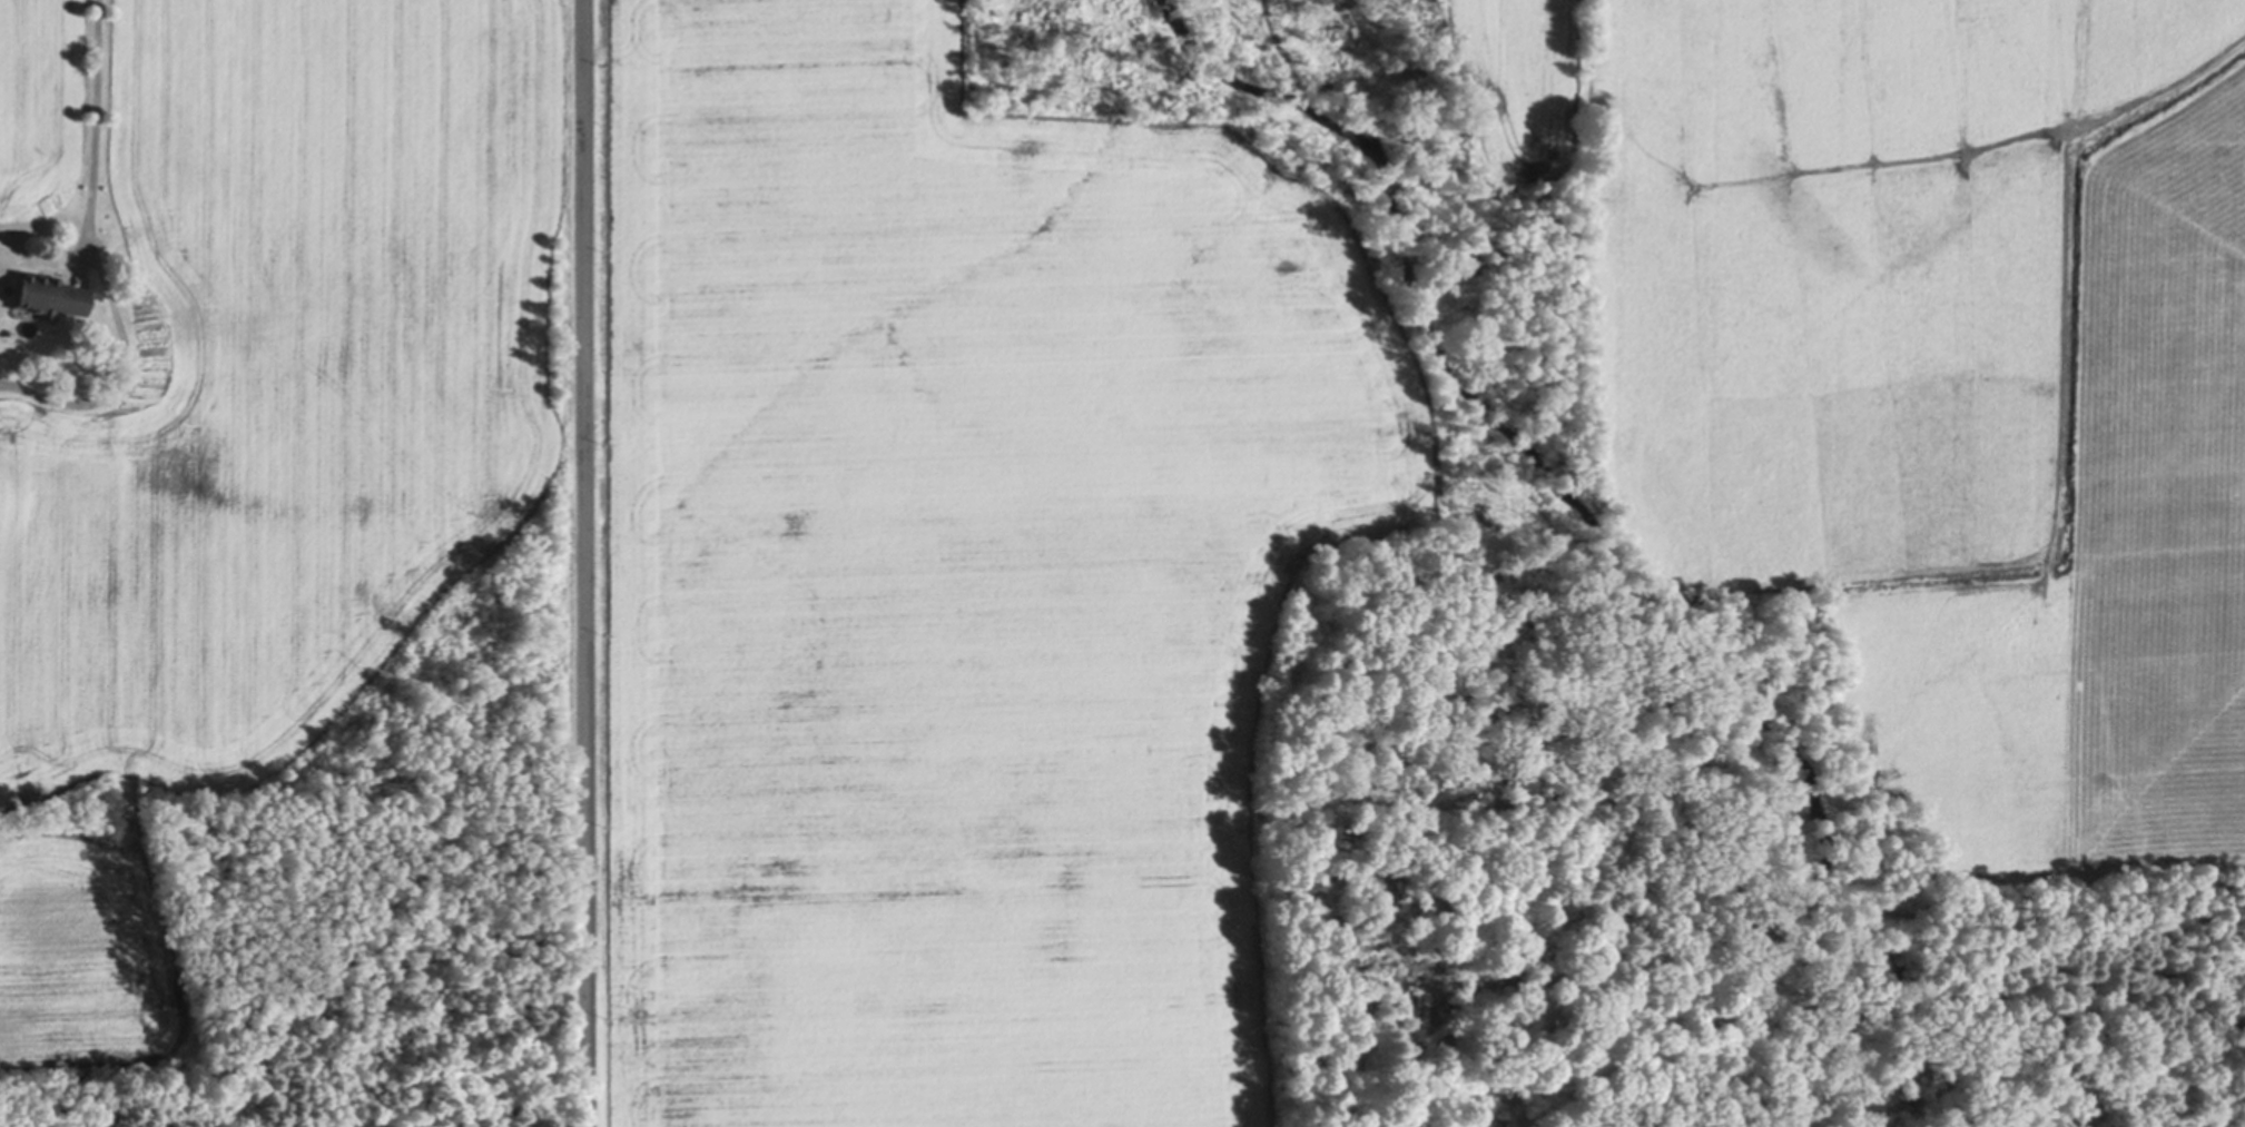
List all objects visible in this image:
road: (92, 103)
building: (47, 294)
crop: (1933, 372)
road: (584, 563)
crop: (943, 575)

